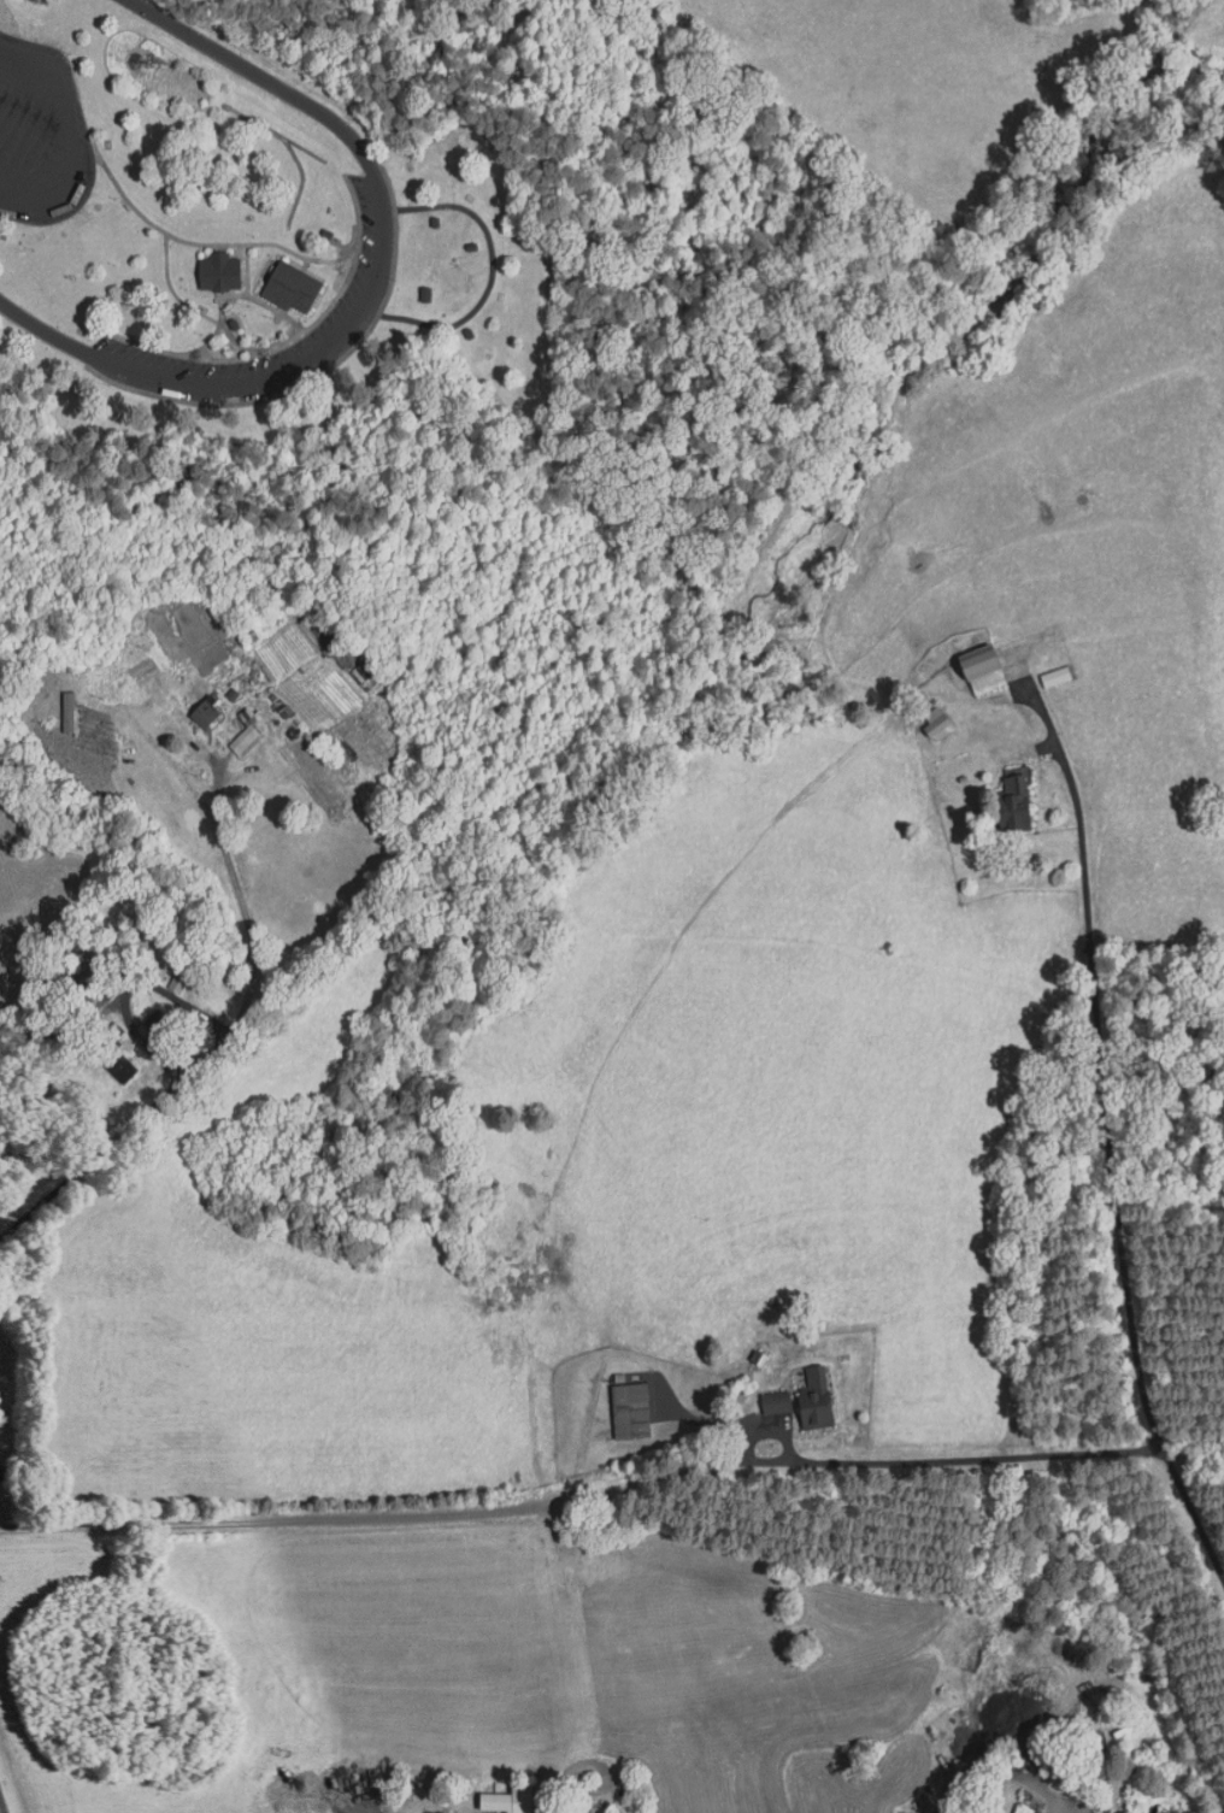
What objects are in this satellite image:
parking lot: (41, 135)
road: (66, 135)
road: (202, 243)
road: (247, 270)
building: (219, 273)
parking lot: (366, 287)
building: (292, 289)
road: (171, 290)
road: (369, 295)
road: (265, 304)
road: (322, 316)
road: (172, 353)
road: (222, 360)
building: (981, 670)
building: (1054, 677)
building: (67, 712)
building: (204, 714)
building: (940, 730)
building: (242, 740)
building: (1013, 802)
building: (78, 973)
building: (92, 1001)
road: (198, 1065)
building: (119, 1070)
building: (814, 1400)
building: (775, 1403)
building: (630, 1412)
road: (581, 1489)
road: (1193, 1512)
building: (520, 1797)

